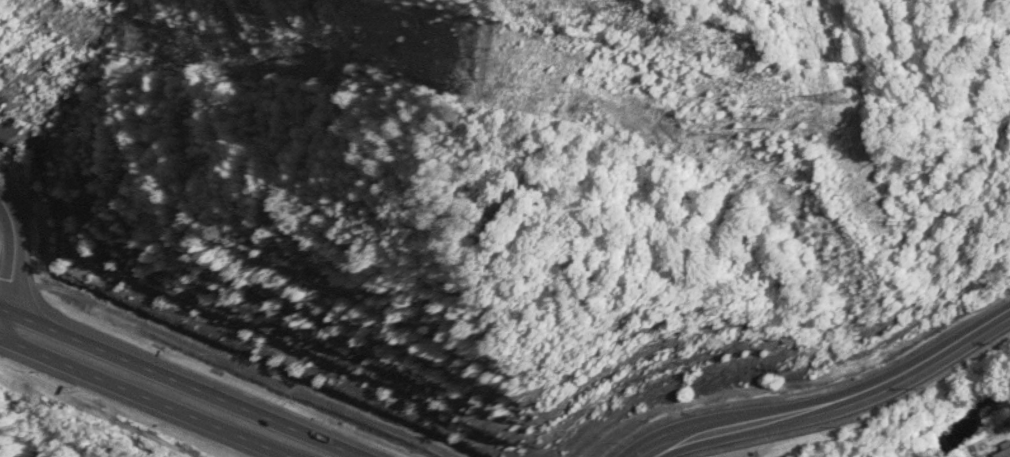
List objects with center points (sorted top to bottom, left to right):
power tower: (824, 96)
road: (25, 317)
road: (206, 392)
road: (146, 398)
road: (835, 401)
building: (1005, 452)

